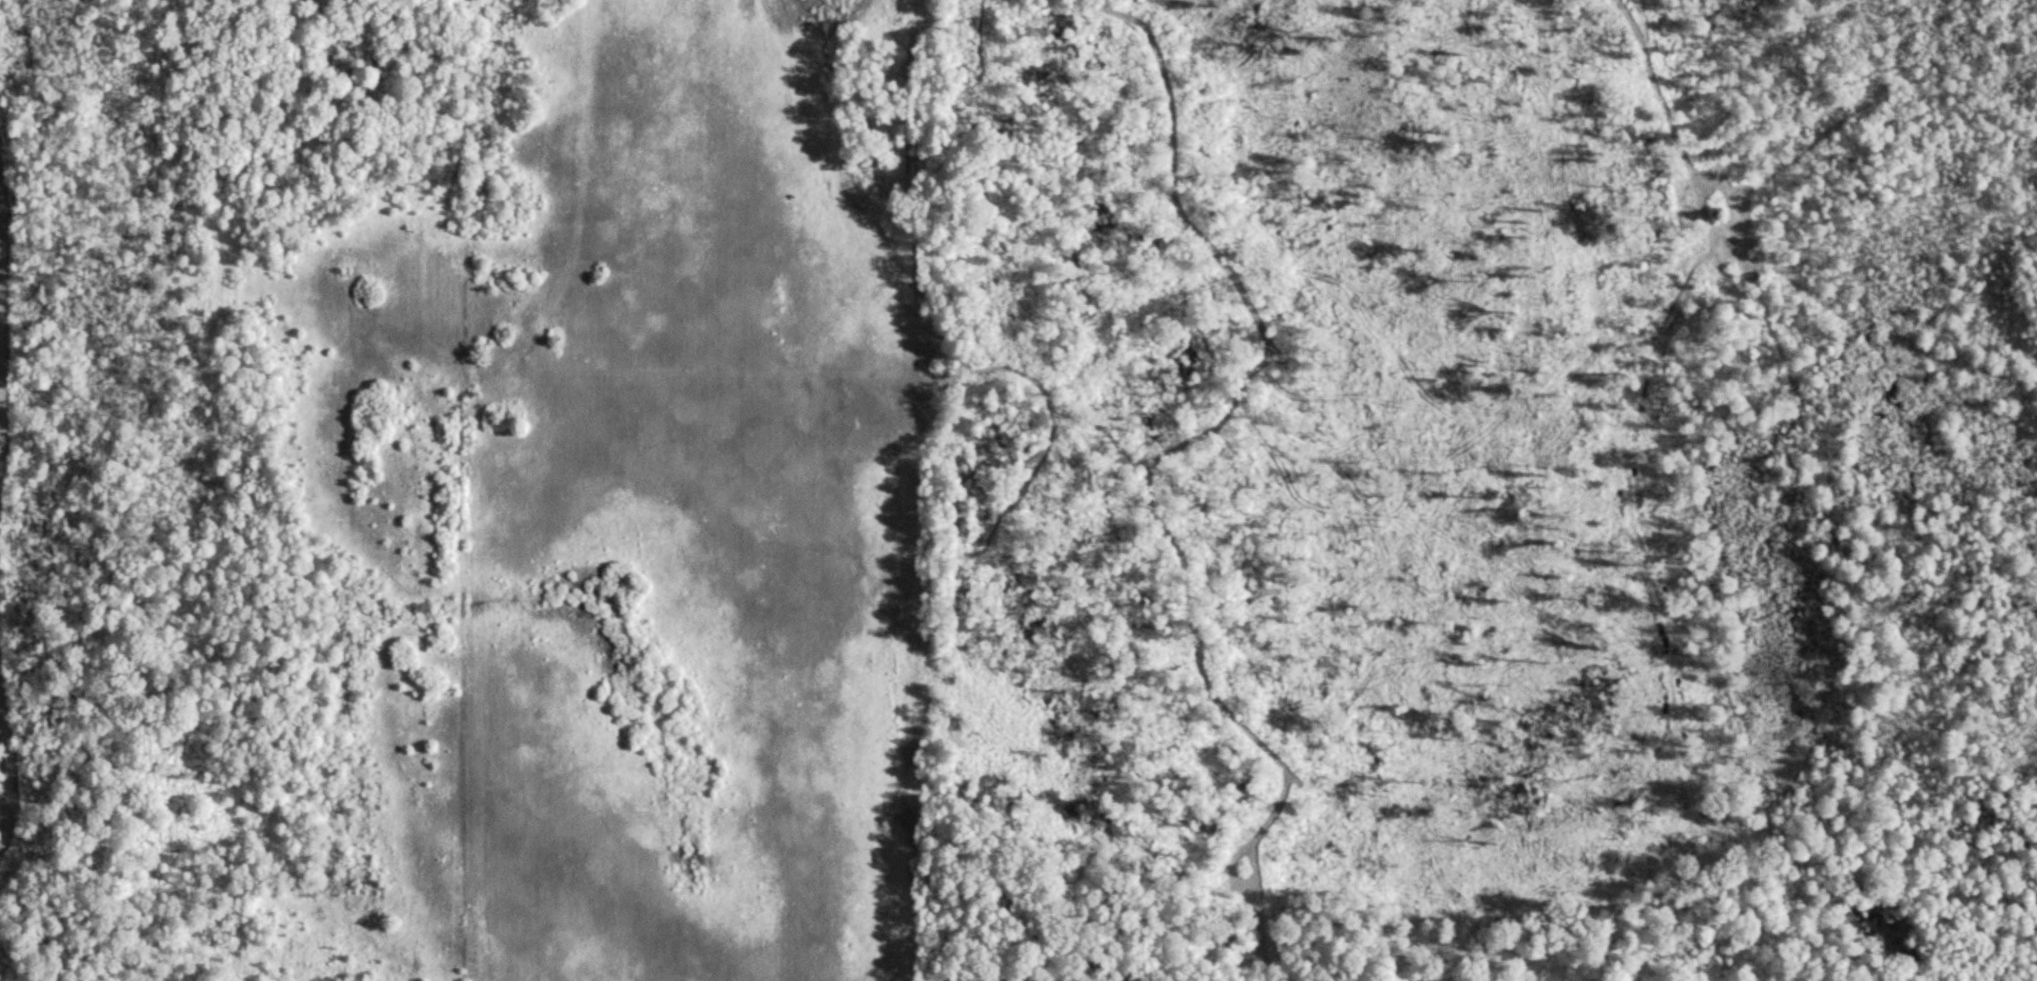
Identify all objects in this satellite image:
road: (0, 314)
road: (6, 779)

